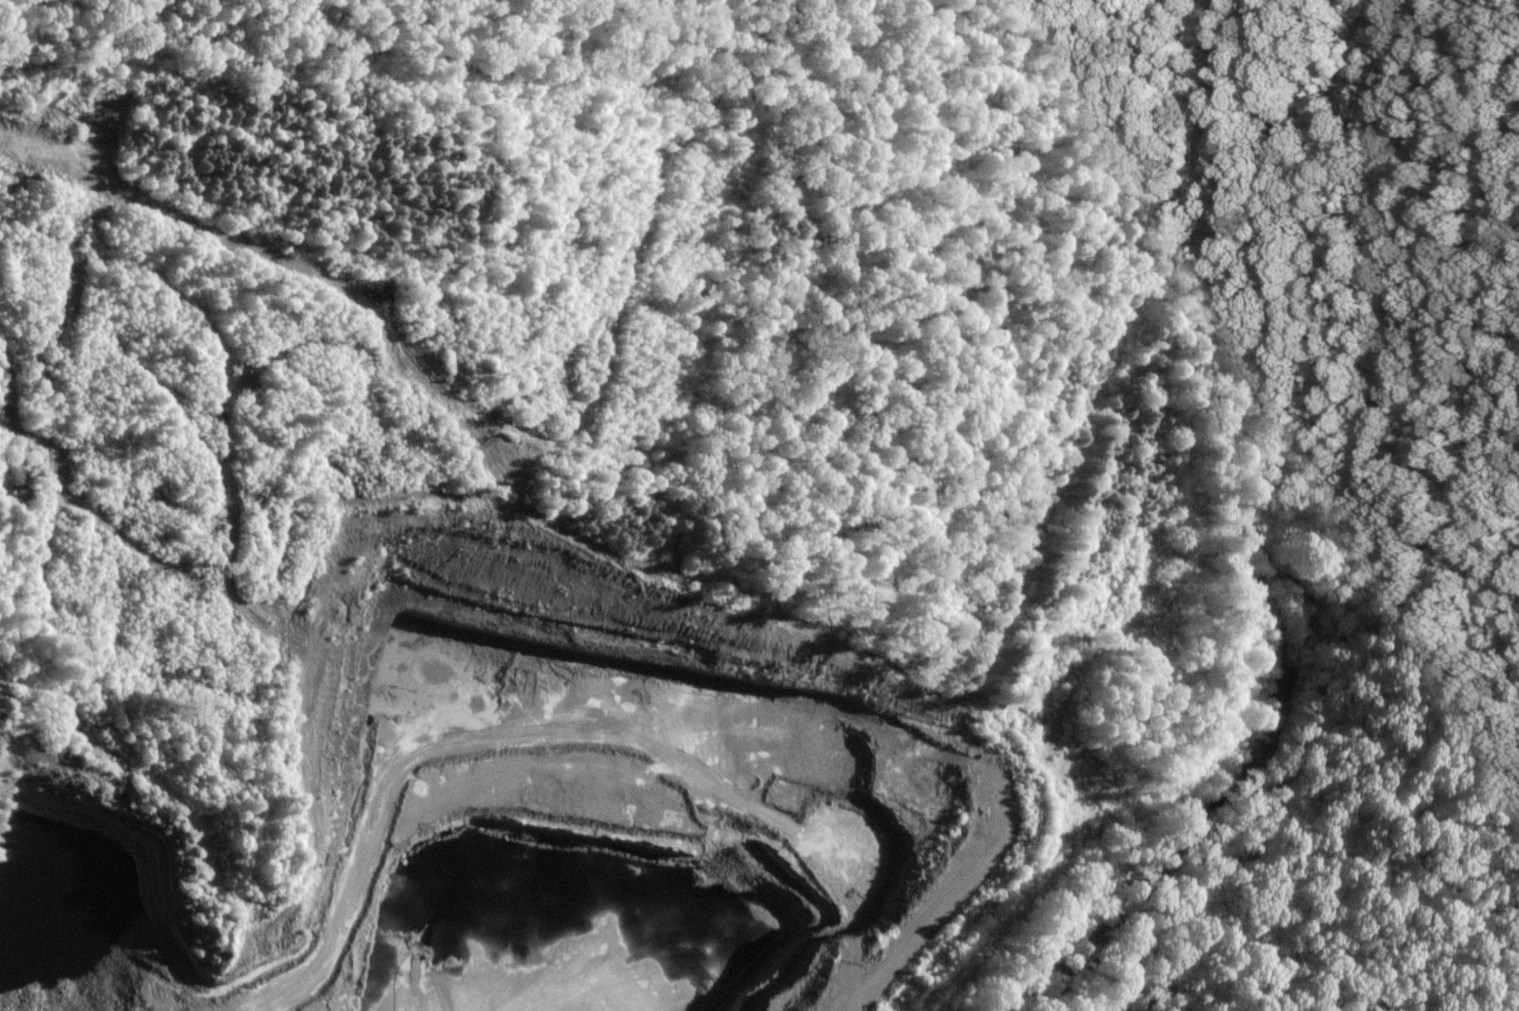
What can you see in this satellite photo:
road: (1370, 543)

